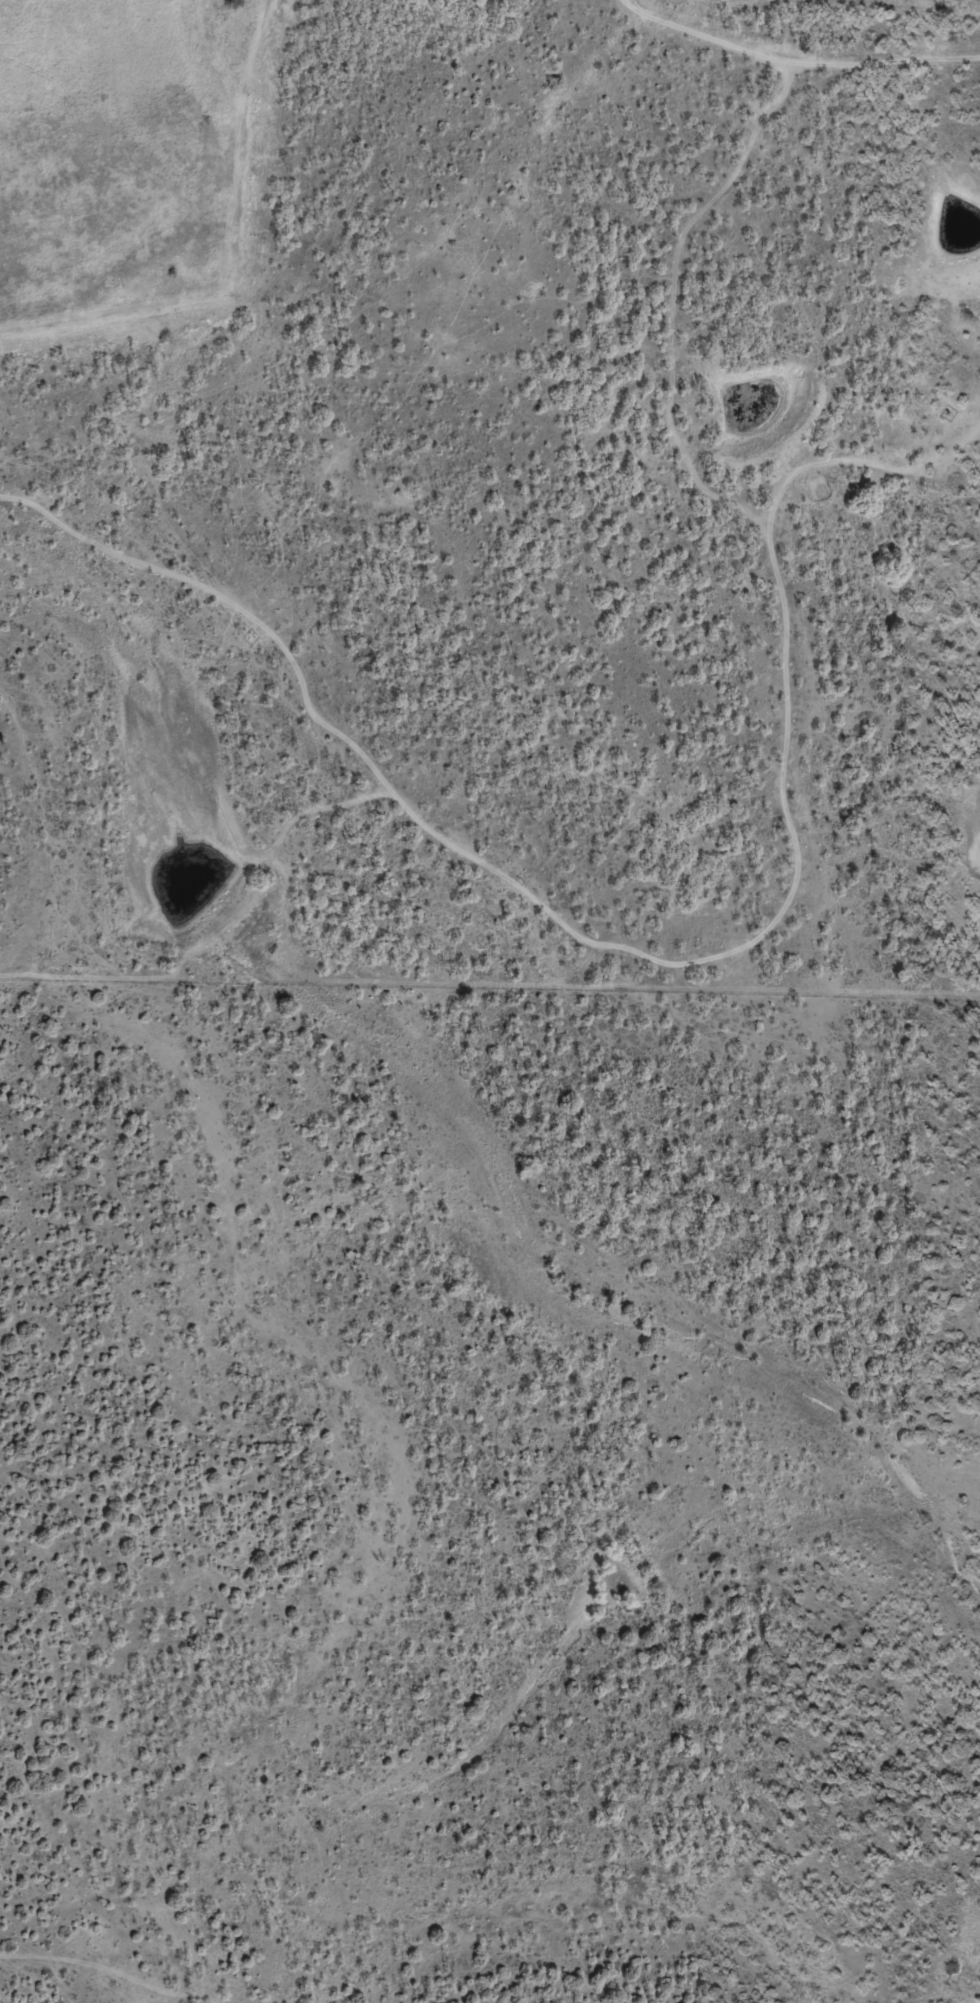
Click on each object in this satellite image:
road: (797, 58)

